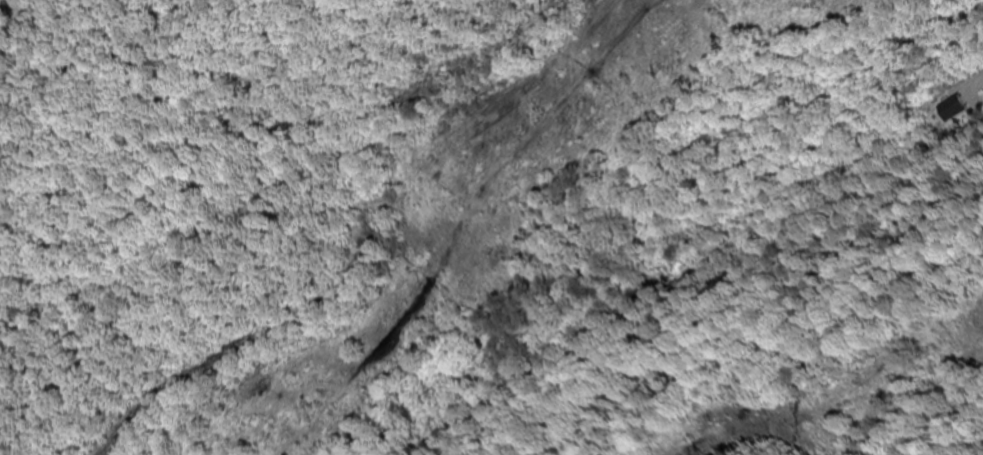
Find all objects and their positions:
building: (961, 110)

